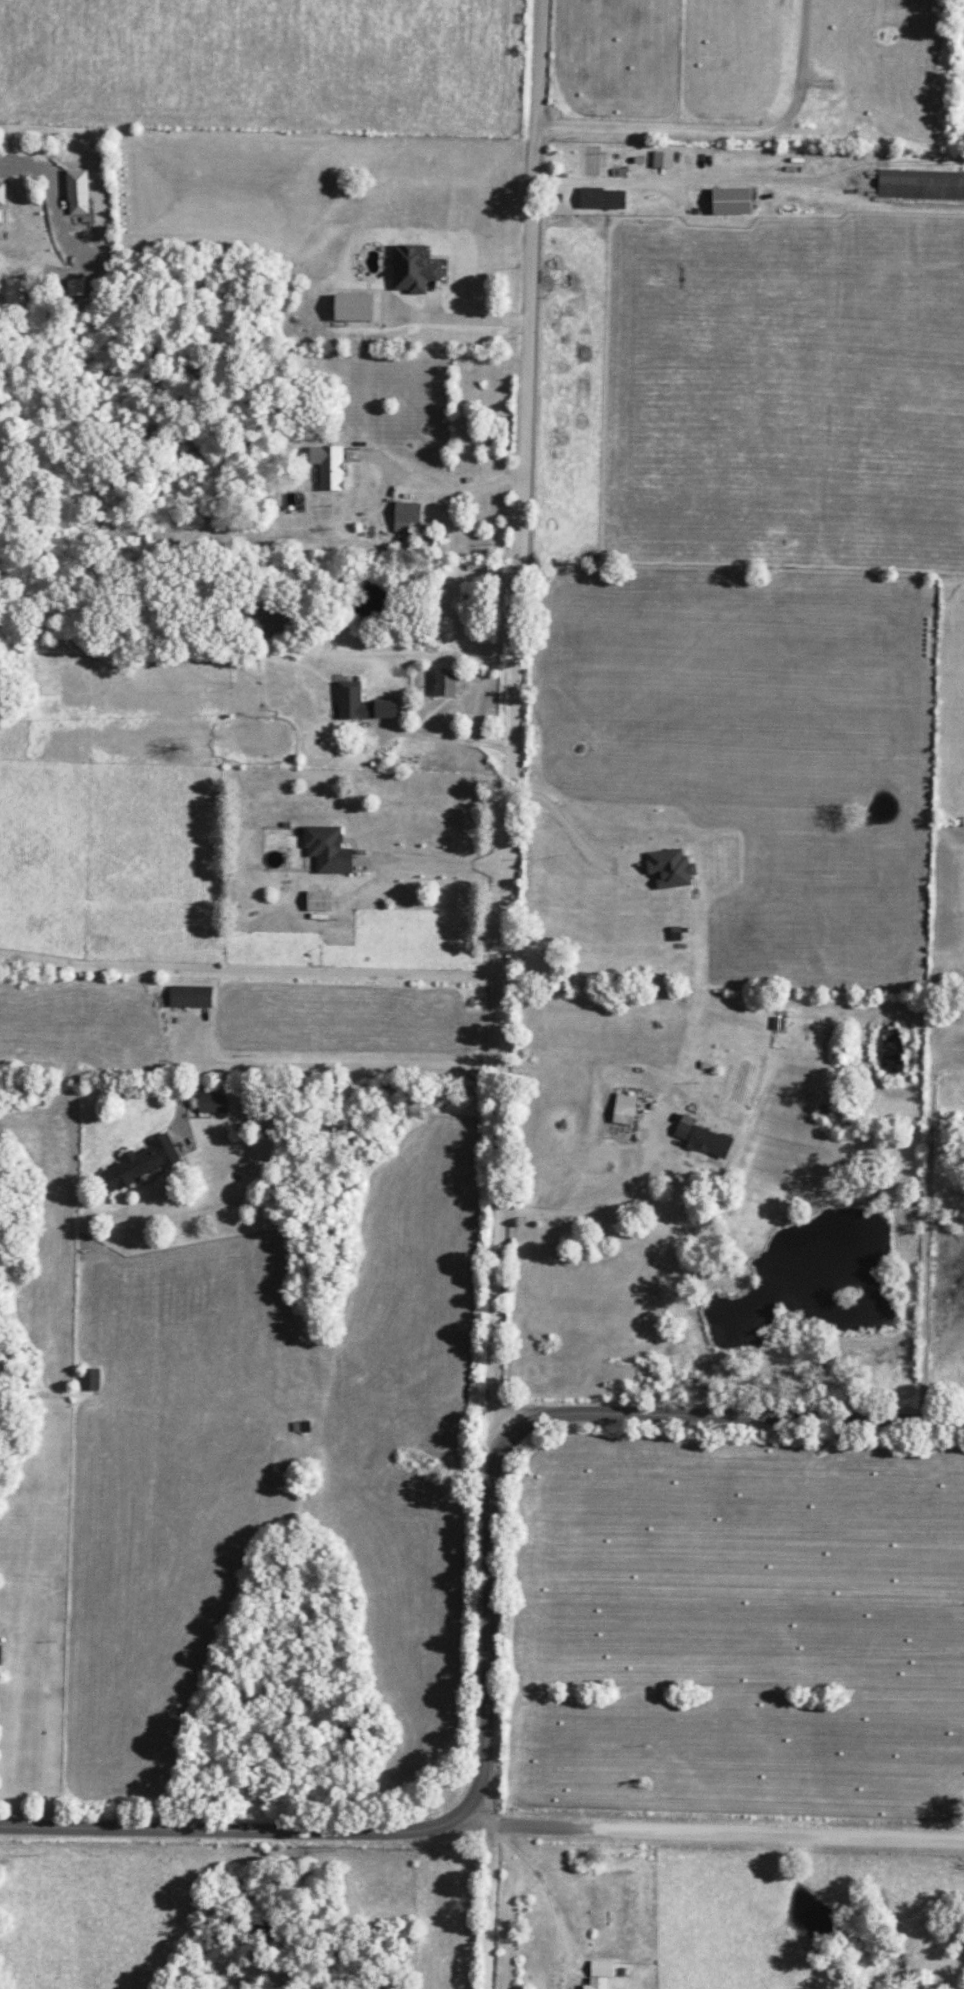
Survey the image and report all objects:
building: (662, 159)
building: (920, 185)
building: (76, 192)
building: (601, 199)
building: (731, 201)
building: (1, 204)
building: (413, 268)
building: (74, 287)
building: (14, 291)
building: (352, 307)
road: (452, 319)
building: (328, 466)
building: (406, 520)
building: (262, 619)
building: (444, 683)
road: (28, 697)
building: (361, 704)
road: (511, 719)
building: (327, 850)
building: (669, 868)
building: (319, 901)
road: (251, 971)
building: (190, 996)
building: (211, 1104)
building: (623, 1109)
road: (394, 1132)
building: (702, 1138)
building: (140, 1163)
road: (926, 1229)
building: (89, 1379)
road: (731, 1416)
road: (484, 1619)
building: (0, 1653)
road: (259, 1716)
road: (539, 1827)
road: (238, 1830)
road: (777, 1835)
road: (489, 1892)
building: (601, 1968)
building: (596, 1983)

